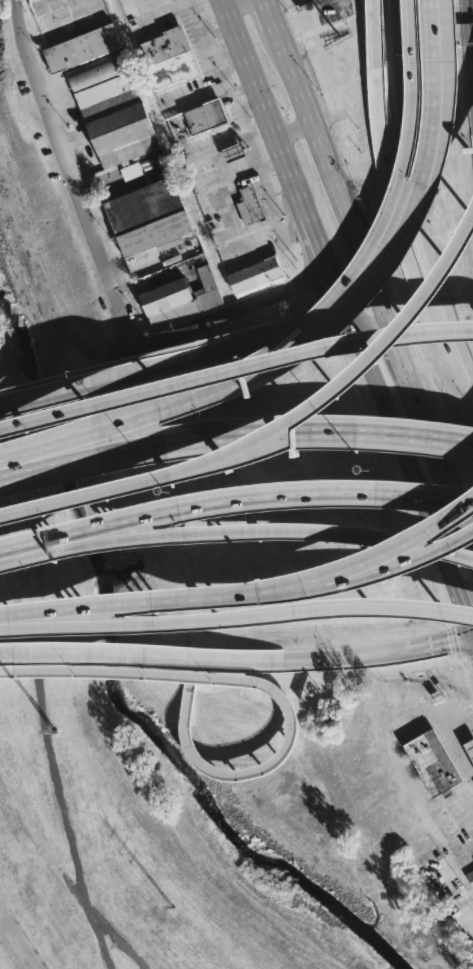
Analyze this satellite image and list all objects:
road: (232, 4)
road: (267, 12)
building: (79, 46)
road: (26, 50)
road: (212, 51)
building: (167, 58)
building: (110, 109)
building: (208, 116)
road: (291, 130)
road: (317, 141)
building: (234, 152)
road: (281, 160)
building: (131, 171)
road: (413, 191)
road: (393, 198)
road: (390, 202)
building: (248, 207)
road: (86, 210)
building: (146, 216)
road: (381, 265)
building: (255, 274)
building: (179, 297)
road: (223, 317)
traffic signals: (348, 320)
road: (386, 320)
road: (235, 339)
road: (385, 342)
road: (234, 368)
road: (432, 382)
road: (62, 384)
road: (425, 423)
road: (276, 424)
road: (316, 430)
road: (78, 438)
road: (400, 452)
road: (80, 455)
road: (320, 489)
road: (457, 504)
road: (452, 514)
road: (84, 529)
road: (313, 529)
road: (76, 546)
road: (367, 555)
road: (392, 565)
road: (275, 585)
road: (278, 592)
road: (157, 598)
road: (270, 610)
road: (462, 610)
road: (35, 611)
road: (2, 619)
road: (36, 621)
road: (472, 634)
traffic signals: (471, 635)
road: (472, 637)
road: (437, 643)
road: (134, 654)
road: (336, 656)
road: (259, 681)
road: (293, 691)
power tower: (60, 733)
park: (143, 743)
road: (454, 743)
building: (468, 748)
road: (47, 752)
building: (430, 763)
road: (67, 871)
building: (470, 876)
power tower: (176, 909)
road: (472, 910)
road: (15, 943)

